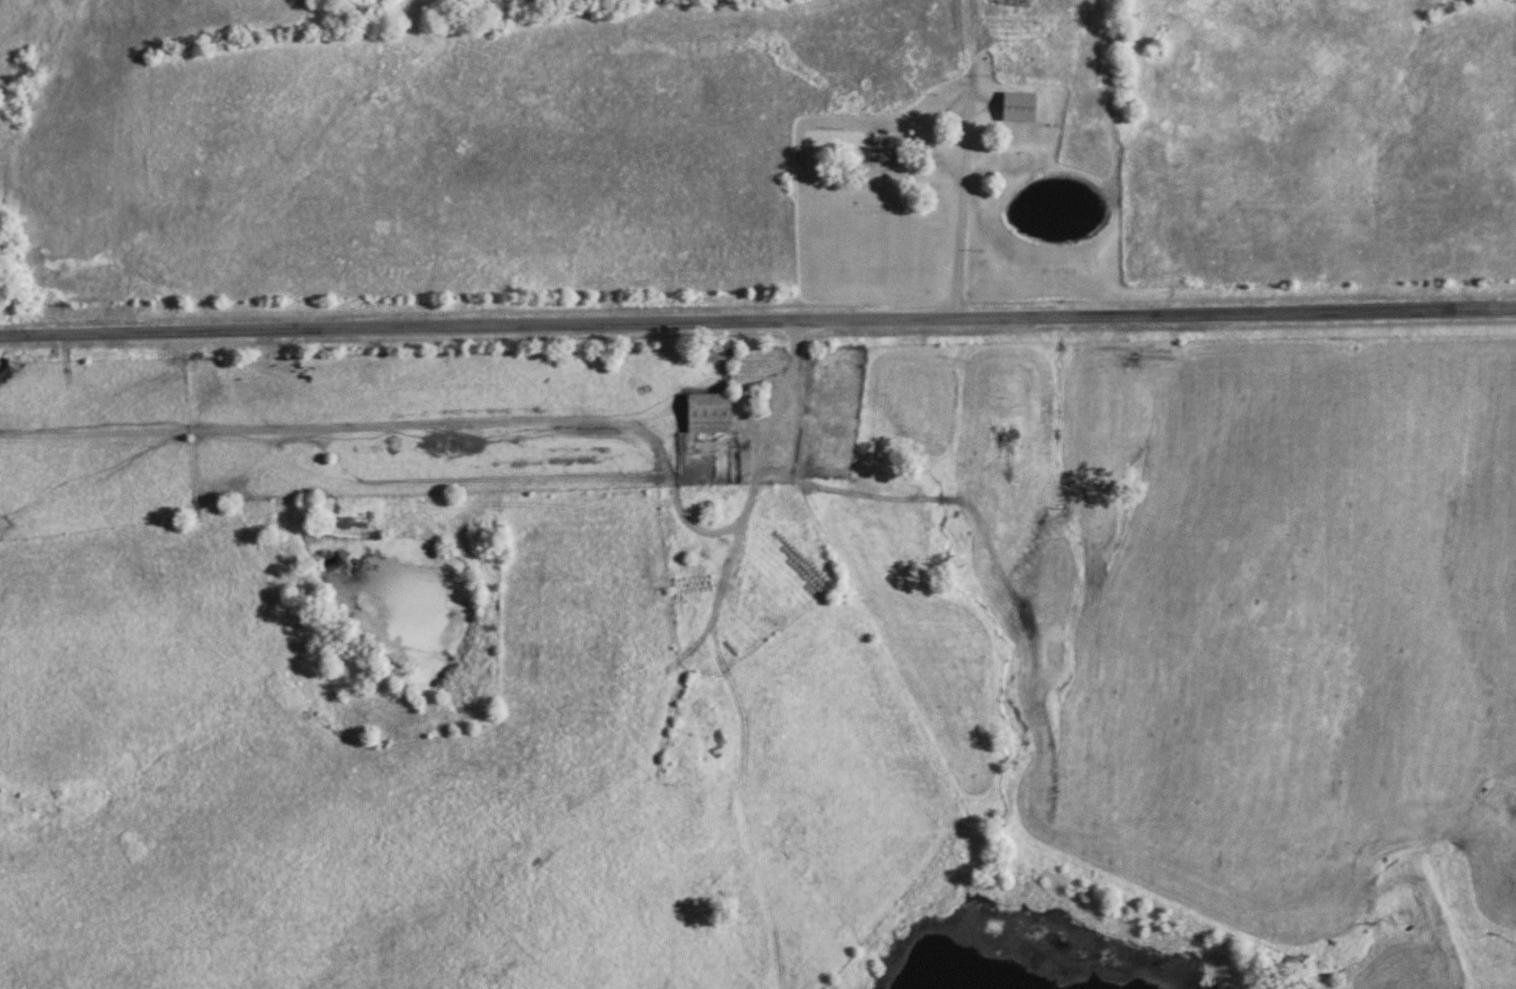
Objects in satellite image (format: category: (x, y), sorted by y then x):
building: (1020, 107)
building: (881, 153)
road: (938, 156)
road: (960, 242)
road: (757, 318)
building: (709, 413)

